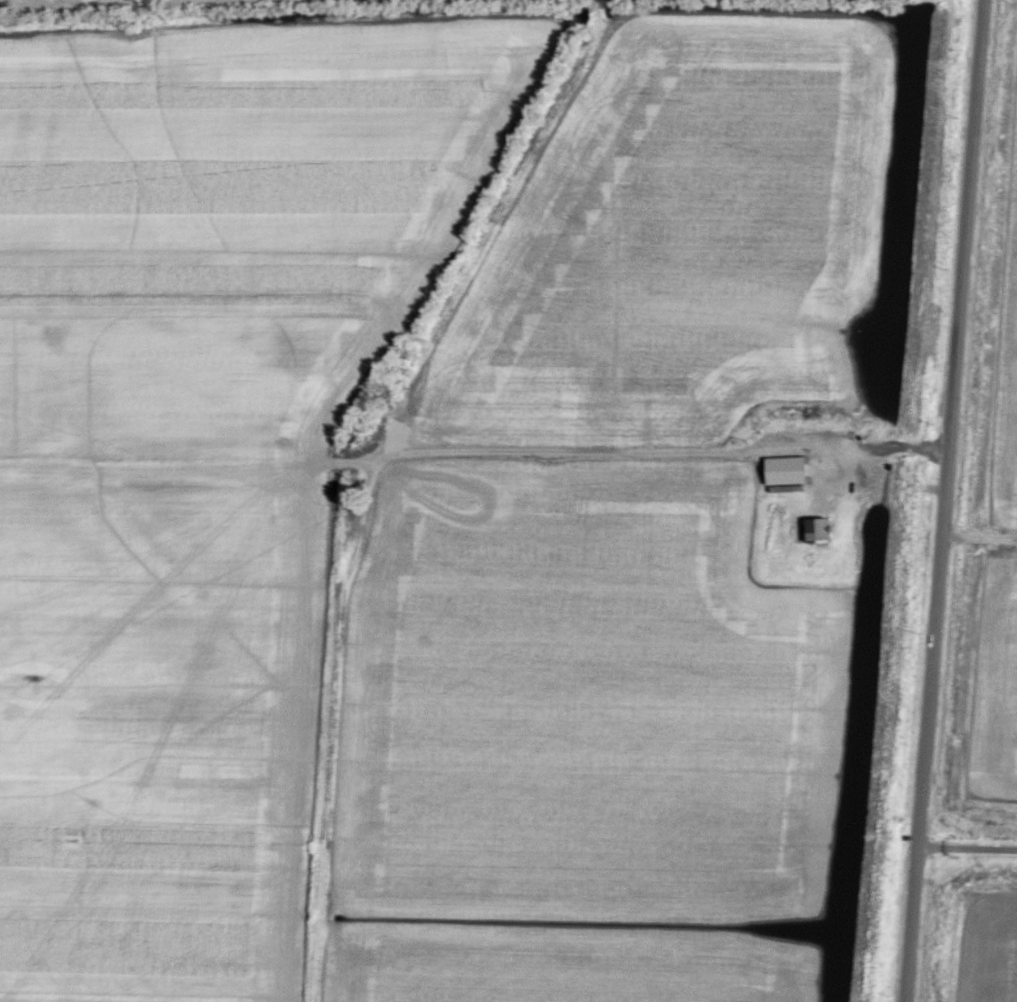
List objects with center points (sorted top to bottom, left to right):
road: (878, 448)
road: (945, 501)
road: (966, 847)

